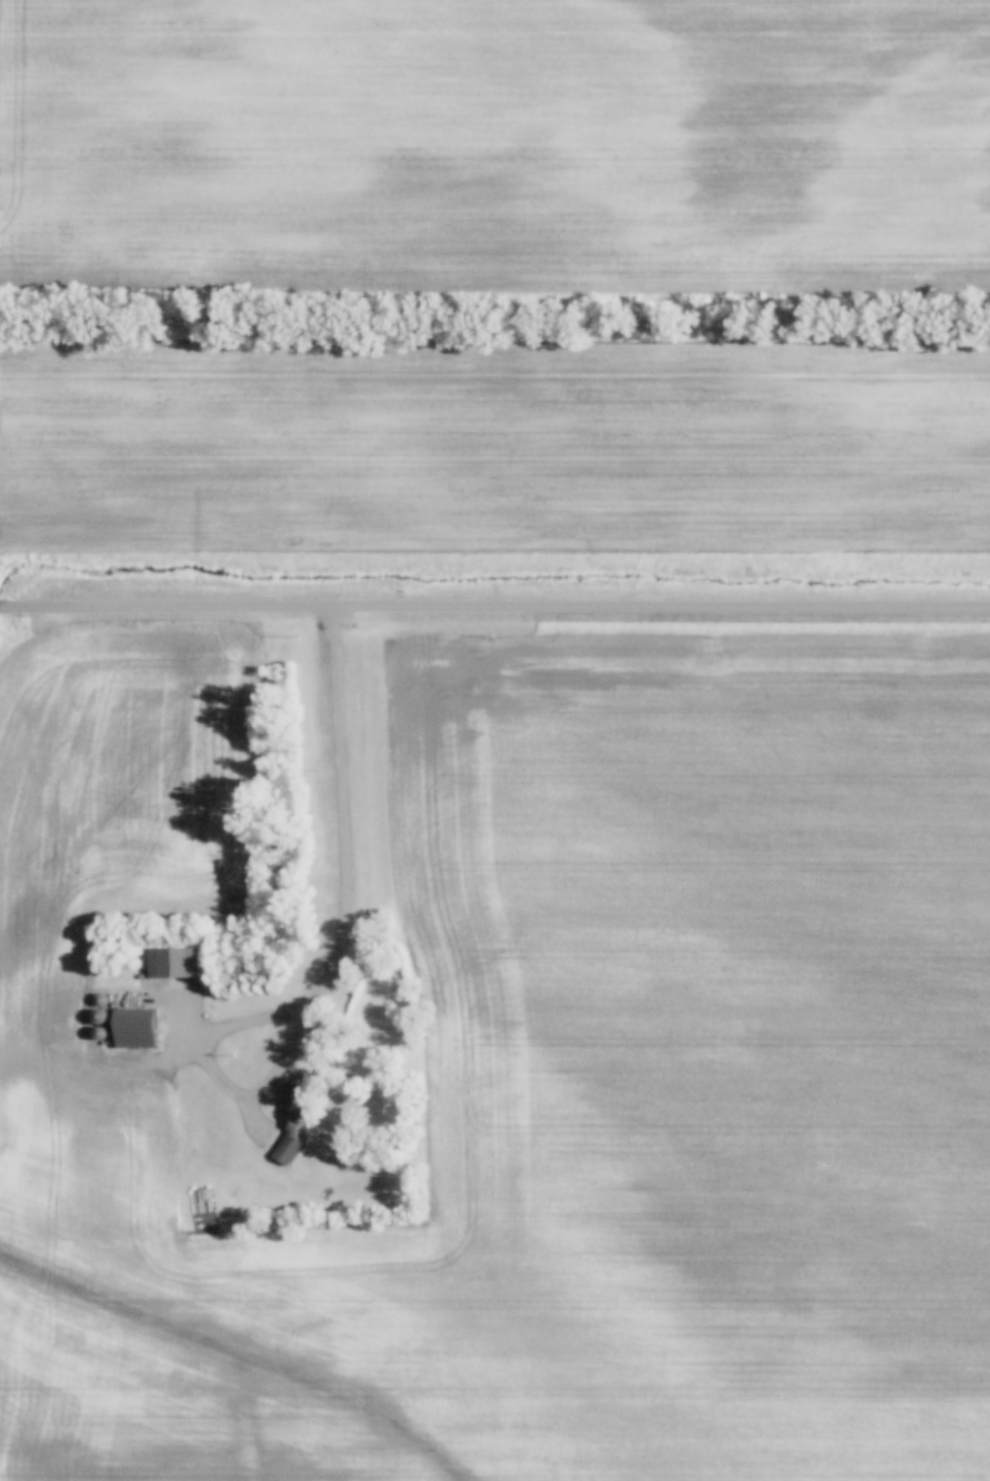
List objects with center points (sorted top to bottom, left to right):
road: (494, 605)
building: (174, 964)
road: (334, 964)
building: (138, 1031)
building: (292, 1119)
building: (201, 1202)

